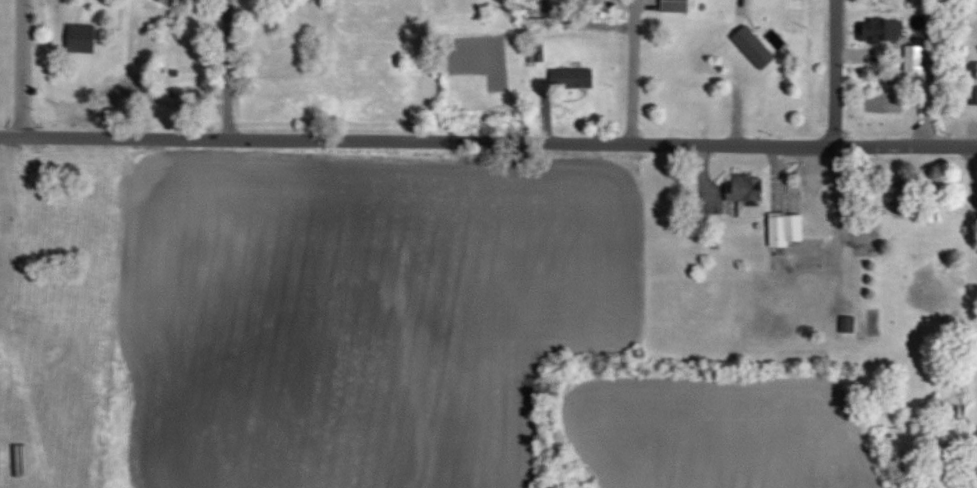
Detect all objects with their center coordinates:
building: (678, 5)
building: (811, 7)
building: (775, 23)
building: (882, 29)
building: (84, 37)
building: (774, 66)
road: (25, 67)
road: (229, 69)
road: (633, 71)
road: (741, 71)
road: (838, 72)
building: (573, 78)
building: (691, 84)
road: (419, 138)
road: (908, 145)
road: (975, 172)
building: (749, 194)
road: (838, 200)
building: (788, 228)

